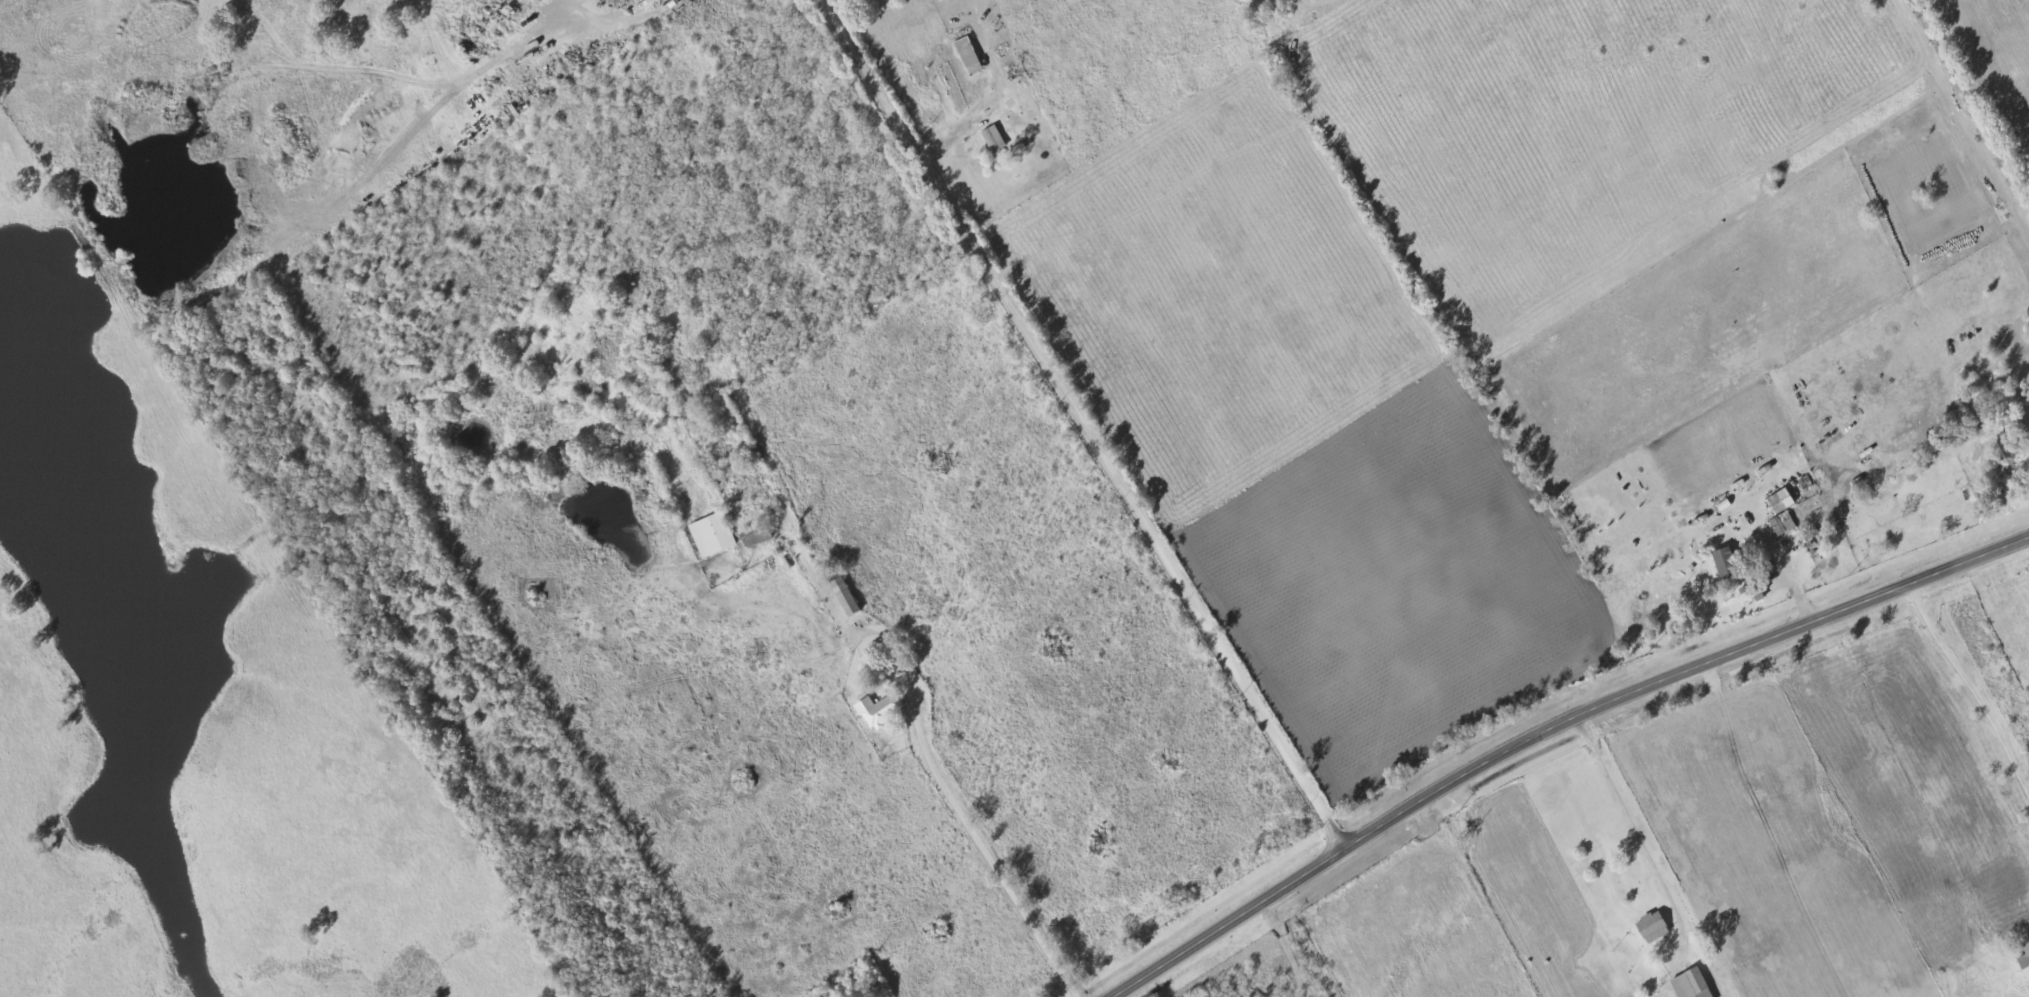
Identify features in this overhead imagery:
building: (654, 0)
building: (966, 57)
road: (1948, 143)
building: (993, 144)
road: (1081, 427)
building: (1778, 502)
building: (1781, 525)
building: (710, 536)
building: (1724, 564)
building: (878, 710)
road: (1552, 734)
building: (1649, 929)
building: (2023, 967)
building: (1687, 985)

